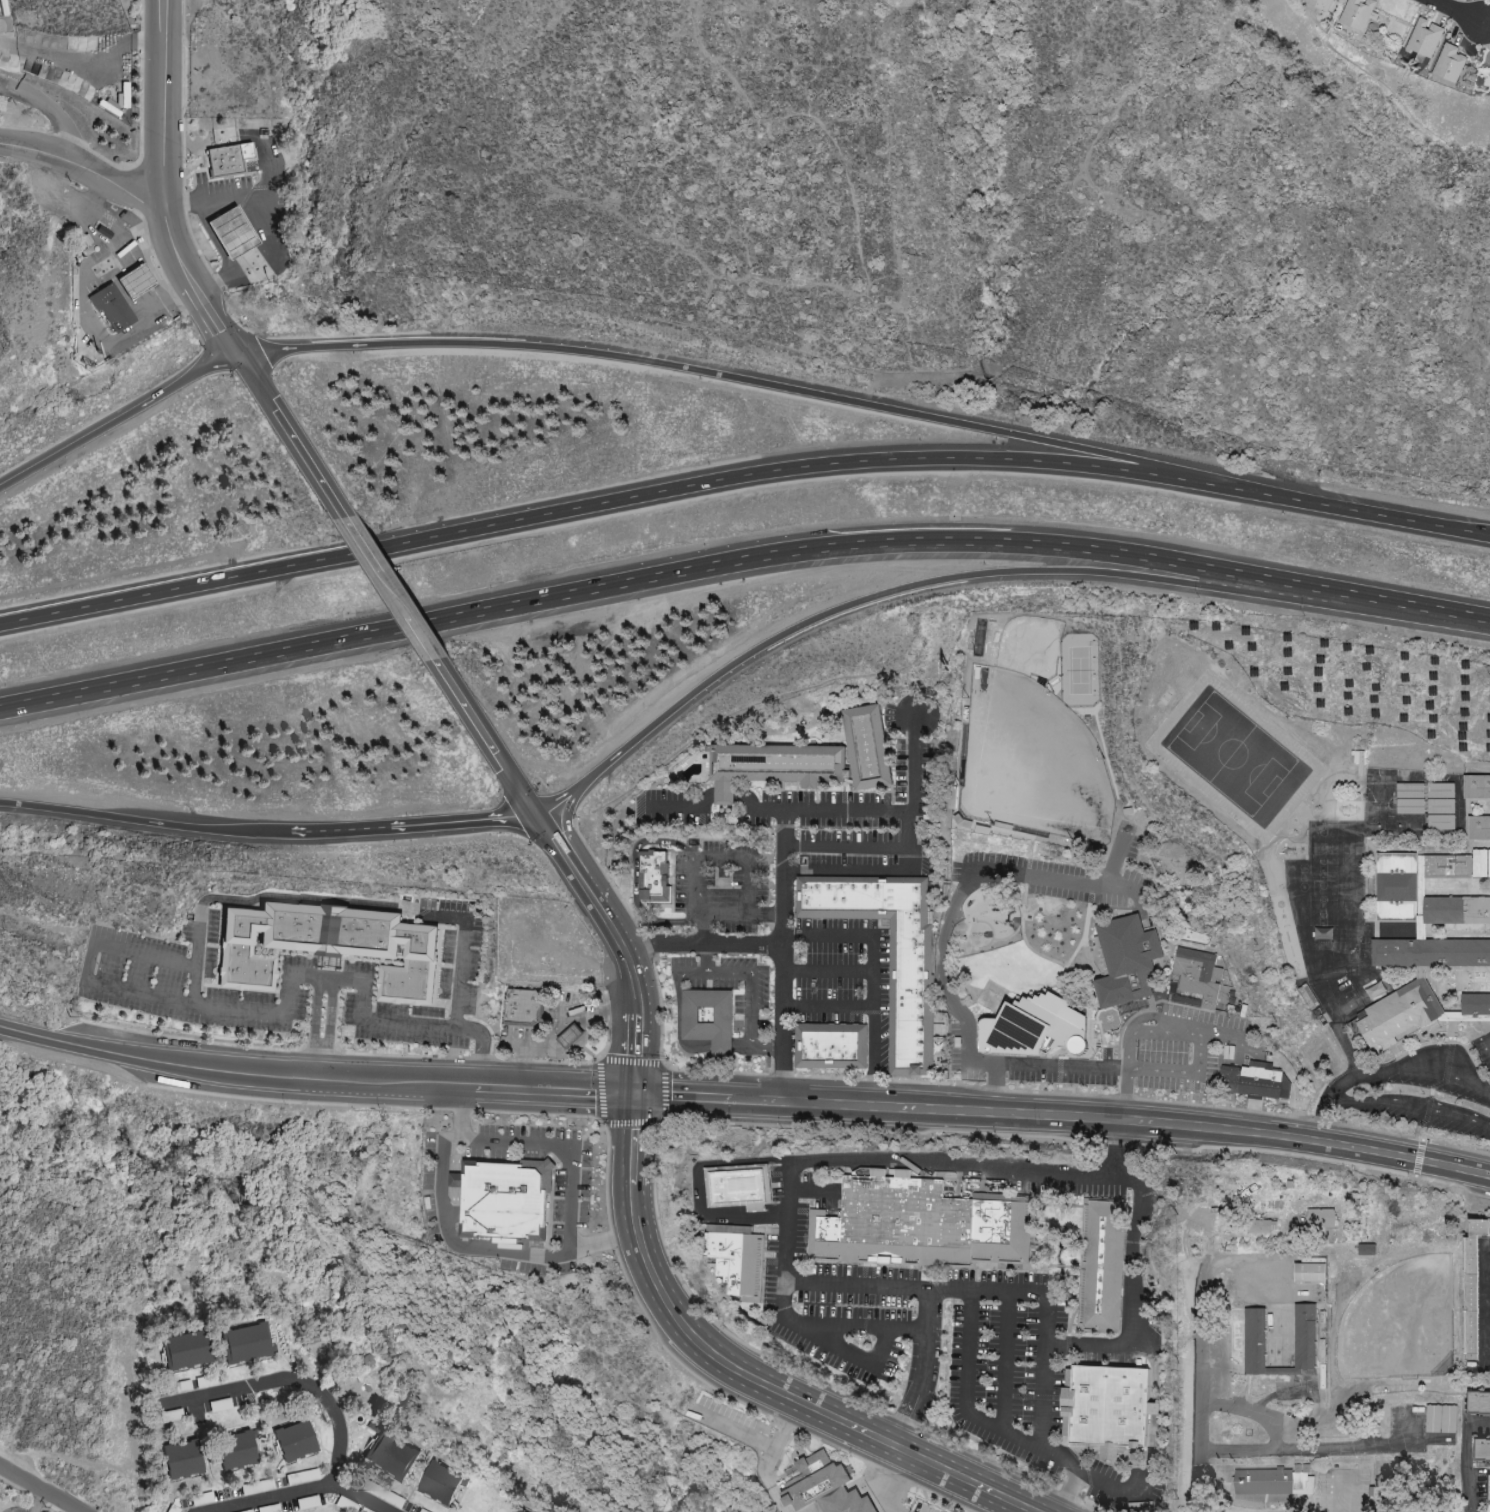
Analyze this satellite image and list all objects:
building: (1356, 13)
road: (1458, 13)
building: (1423, 41)
building: (1448, 64)
road: (93, 69)
road: (168, 104)
road: (56, 109)
road: (269, 156)
building: (225, 161)
road: (83, 169)
road: (216, 197)
building: (233, 233)
road: (129, 248)
road: (276, 251)
building: (138, 282)
gas station: (138, 282)
road: (195, 282)
road: (219, 286)
road: (187, 302)
building: (113, 307)
road: (107, 337)
traffic signals: (238, 352)
road: (774, 387)
road: (119, 421)
road: (291, 435)
road: (646, 495)
road: (1395, 521)
road: (741, 561)
road: (928, 583)
road: (390, 589)
park: (1077, 672)
road: (487, 738)
building: (868, 749)
park: (1028, 765)
building: (772, 766)
road: (917, 768)
building: (1476, 787)
building: (1409, 799)
building: (1439, 807)
road: (864, 811)
traffic signals: (539, 817)
road: (144, 824)
road: (414, 827)
building: (1478, 828)
road: (847, 846)
road: (722, 858)
building: (1480, 864)
road: (634, 876)
building: (655, 878)
building: (1399, 888)
road: (269, 897)
road: (956, 899)
road: (723, 914)
road: (460, 943)
road: (619, 945)
road: (700, 945)
building: (329, 947)
building: (1430, 953)
road: (782, 955)
building: (1124, 961)
road: (827, 970)
road: (873, 975)
building: (1197, 976)
road: (750, 991)
building: (908, 998)
road: (827, 1005)
building: (1475, 1005)
building: (524, 1006)
road: (256, 1013)
building: (1398, 1015)
building: (709, 1019)
road: (559, 1024)
road: (312, 1028)
road: (329, 1029)
building: (1034, 1029)
road: (680, 1031)
road: (29, 1035)
building: (571, 1038)
building: (830, 1049)
road: (1384, 1070)
road: (1092, 1071)
road: (345, 1080)
building: (1253, 1081)
traffic signals: (636, 1095)
road: (790, 1100)
road: (1411, 1107)
road: (461, 1112)
road: (1219, 1132)
road: (488, 1140)
road: (1026, 1170)
road: (704, 1186)
building: (743, 1188)
building: (505, 1202)
building: (1320, 1218)
building: (921, 1223)
building: (1261, 1226)
building: (1366, 1249)
building: (740, 1265)
building: (1101, 1266)
building: (1309, 1273)
building: (1472, 1284)
road: (1031, 1296)
road: (1482, 1306)
road: (783, 1317)
road: (845, 1326)
building: (1254, 1341)
building: (244, 1342)
building: (183, 1349)
road: (1006, 1363)
road: (1202, 1366)
road: (745, 1372)
road: (292, 1384)
road: (965, 1394)
building: (1478, 1404)
building: (1108, 1407)
road: (1250, 1412)
building: (1440, 1419)
building: (294, 1440)
road: (1307, 1448)
building: (235, 1450)
building: (1482, 1450)
building: (391, 1455)
street lamp: (849, 1456)
road: (1466, 1456)
building: (181, 1459)
building: (1273, 1481)
building: (439, 1483)
road: (1103, 1483)
building: (823, 1487)
building: (1488, 1487)
road: (40, 1489)
road: (305, 1493)
building: (1248, 1497)
road: (33, 1498)
building: (516, 1510)

